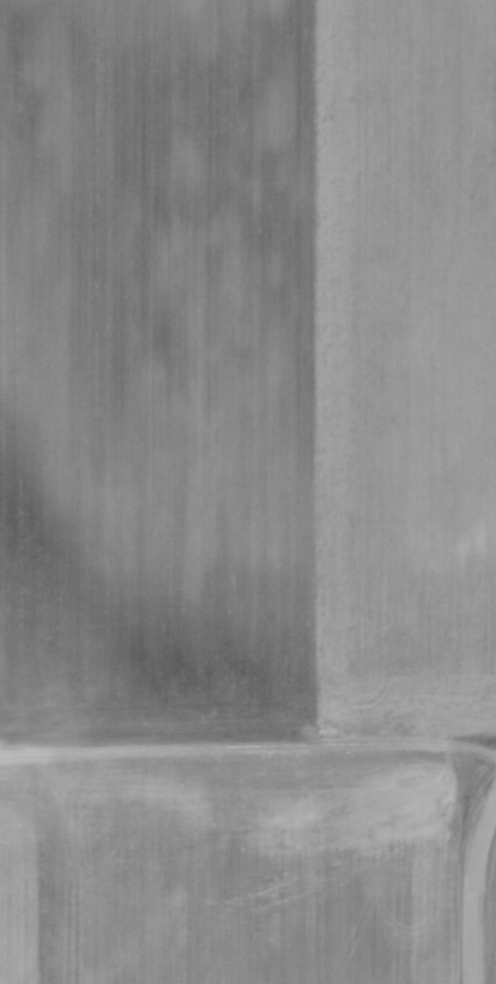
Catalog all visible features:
road: (248, 753)
road: (495, 803)
road: (475, 892)

